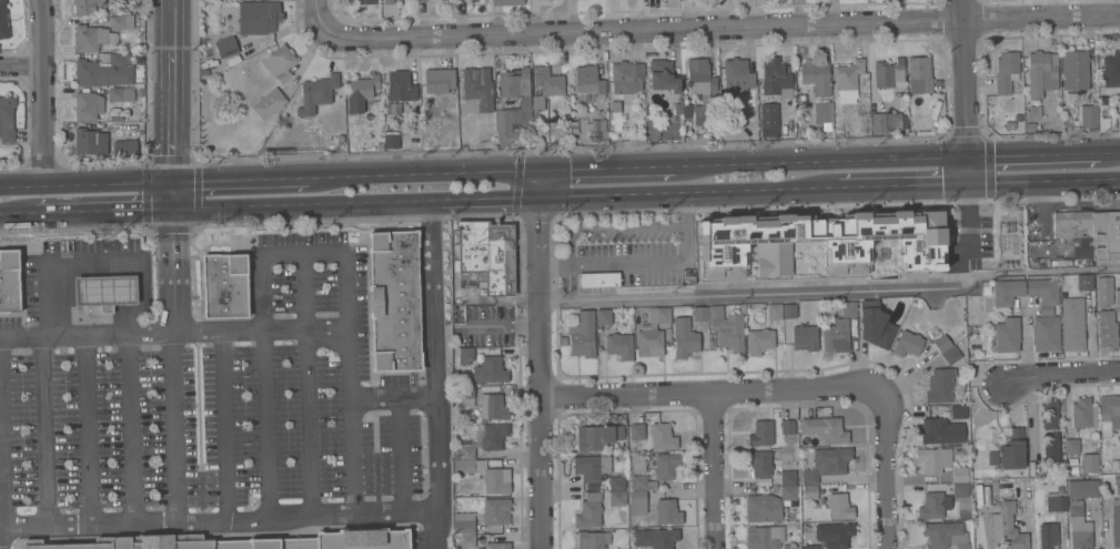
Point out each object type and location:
building: (420, 0)
building: (365, 1)
building: (389, 2)
building: (506, 2)
building: (85, 6)
building: (3, 13)
road: (316, 14)
building: (256, 18)
building: (121, 22)
road: (174, 26)
road: (720, 27)
building: (91, 38)
building: (225, 47)
building: (280, 62)
road: (22, 65)
building: (1111, 69)
building: (1074, 70)
building: (104, 71)
building: (1006, 71)
building: (889, 73)
building: (1040, 73)
building: (737, 74)
building: (919, 74)
building: (663, 75)
building: (816, 75)
building: (626, 77)
building: (777, 77)
road: (965, 78)
building: (438, 80)
building: (848, 80)
building: (588, 81)
building: (516, 84)
building: (546, 85)
building: (364, 87)
building: (401, 87)
building: (476, 90)
building: (700, 90)
road: (43, 92)
building: (316, 93)
building: (121, 94)
building: (269, 103)
building: (88, 105)
building: (393, 109)
building: (827, 112)
building: (1089, 115)
road: (173, 118)
building: (7, 119)
building: (769, 119)
building: (503, 120)
building: (879, 122)
building: (601, 128)
building: (120, 129)
building: (90, 141)
building: (391, 141)
road: (1043, 154)
traffic signals: (967, 156)
road: (819, 160)
road: (606, 167)
road: (967, 170)
traffic signals: (539, 171)
road: (420, 174)
road: (236, 181)
road: (1043, 181)
traffic signals: (171, 183)
road: (85, 184)
traffic signals: (968, 184)
road: (902, 185)
road: (687, 191)
road: (171, 196)
traffic signals: (538, 196)
road: (516, 203)
road: (355, 204)
traffic signals: (172, 210)
road: (103, 212)
road: (18, 215)
building: (1002, 218)
building: (1072, 224)
building: (1106, 235)
building: (1005, 242)
building: (720, 250)
road: (340, 253)
building: (484, 255)
building: (999, 261)
road: (644, 262)
road: (100, 263)
building: (598, 279)
building: (9, 281)
building: (1083, 282)
building: (224, 285)
road: (829, 289)
building: (1043, 289)
building: (105, 291)
gas station: (105, 291)
building: (1104, 291)
building: (1007, 292)
building: (1117, 296)
building: (394, 301)
building: (848, 308)
building: (780, 311)
building: (699, 313)
building: (603, 316)
building: (1072, 324)
building: (875, 325)
building: (727, 328)
building: (1107, 329)
road: (174, 331)
building: (653, 333)
building: (1046, 333)
building: (583, 335)
building: (836, 335)
building: (1007, 335)
building: (684, 337)
building: (805, 337)
building: (760, 340)
building: (941, 343)
building: (908, 344)
building: (619, 345)
building: (950, 355)
road: (537, 359)
building: (485, 362)
road: (175, 366)
road: (433, 375)
road: (1061, 377)
road: (310, 385)
building: (939, 385)
road: (707, 392)
building: (466, 395)
road: (393, 399)
building: (493, 407)
building: (958, 410)
building: (1049, 411)
parking lot: (216, 413)
building: (1083, 413)
building: (1109, 414)
road: (265, 424)
road: (223, 425)
road: (132, 427)
building: (787, 427)
road: (90, 428)
building: (824, 428)
road: (44, 430)
building: (941, 430)
building: (761, 434)
building: (654, 435)
building: (597, 436)
building: (483, 440)
building: (1072, 446)
road: (1, 449)
building: (1051, 449)
building: (1010, 451)
road: (401, 457)
road: (354, 458)
building: (934, 459)
building: (467, 461)
building: (760, 462)
building: (1088, 462)
building: (826, 464)
building: (666, 465)
building: (591, 467)
road: (714, 469)
road: (887, 469)
building: (961, 475)
building: (487, 476)
building: (789, 477)
building: (640, 482)
building: (616, 484)
building: (1082, 488)
building: (960, 489)
building: (809, 491)
building: (789, 492)
building: (616, 498)
building: (637, 501)
building: (1056, 501)
building: (839, 506)
building: (931, 506)
building: (763, 508)
building: (496, 510)
building: (589, 511)
building: (667, 511)
building: (611, 517)
building: (1116, 519)
road: (216, 521)
building: (463, 522)
building: (1079, 526)
building: (1011, 528)
building: (835, 533)
building: (945, 535)
building: (1048, 536)
building: (655, 538)
building: (767, 538)
building: (363, 539)
building: (464, 540)
building: (593, 540)
building: (130, 542)
building: (268, 543)
building: (809, 543)
building: (496, 546)

